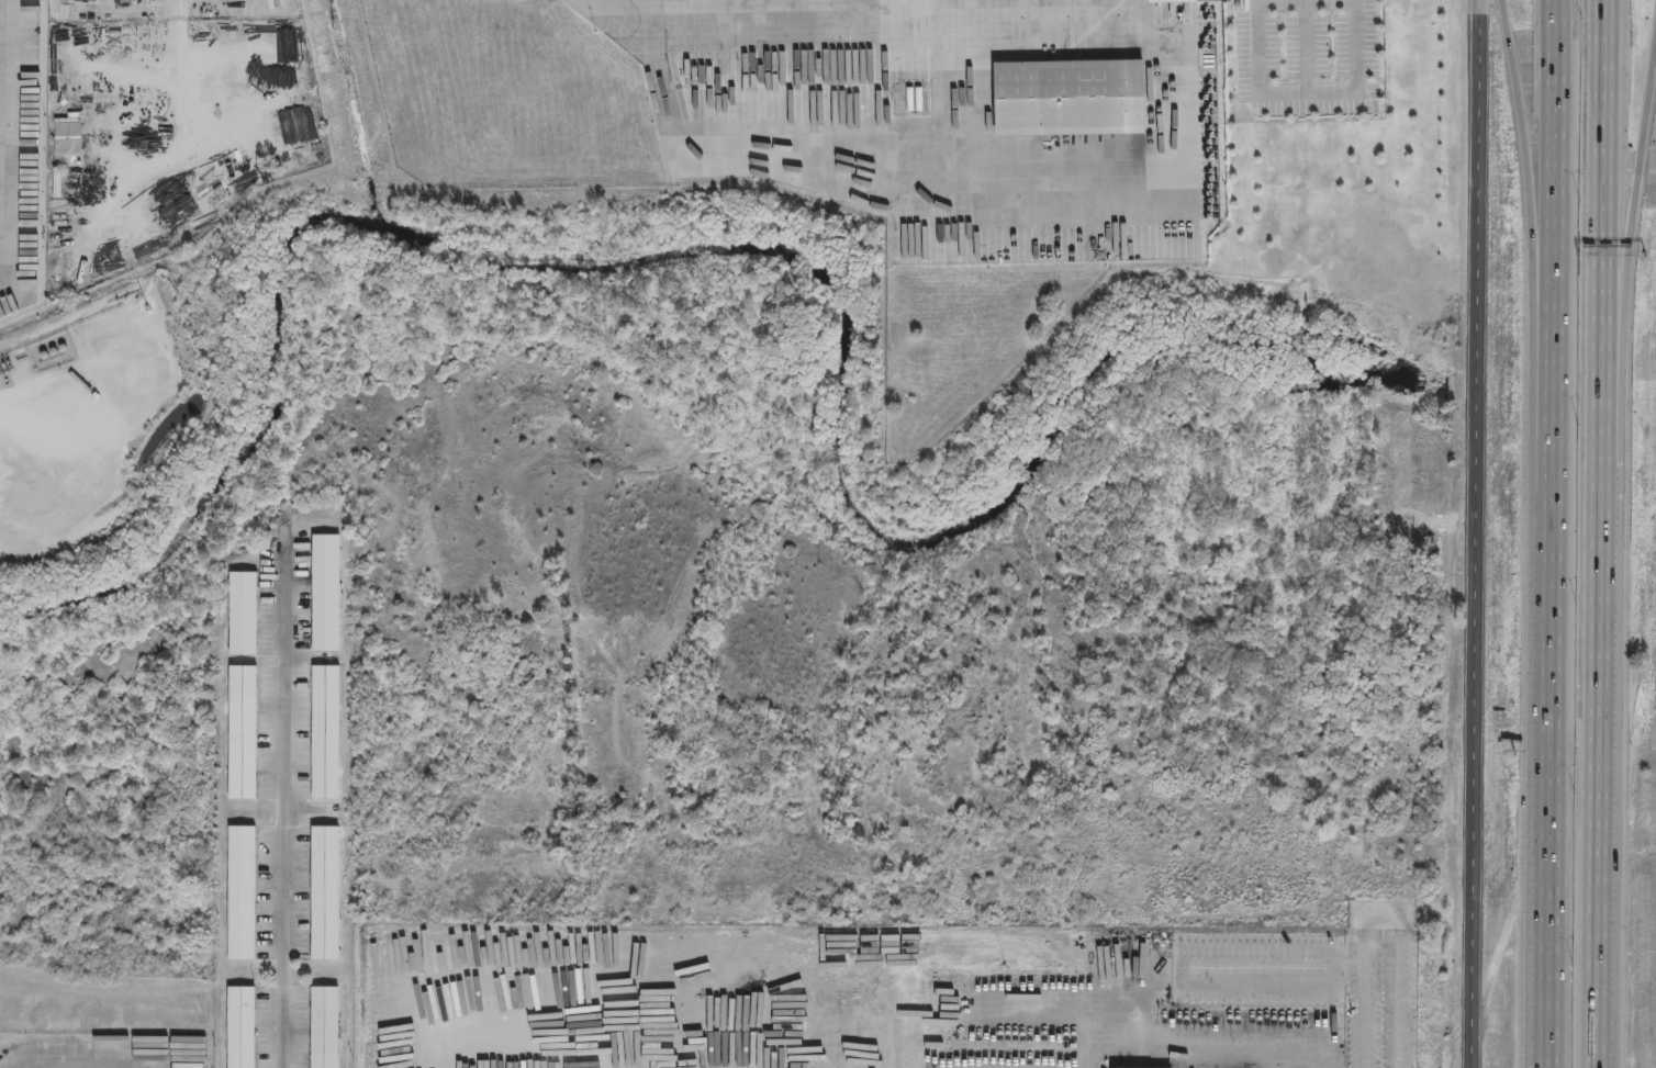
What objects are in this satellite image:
building: (1171, 0)
road: (750, 42)
road: (1285, 93)
building: (1067, 98)
building: (68, 134)
road: (1176, 166)
building: (56, 184)
road: (1537, 214)
road: (1554, 215)
road: (1602, 307)
road: (1630, 344)
road: (1479, 533)
building: (323, 592)
building: (240, 612)
building: (324, 730)
building: (240, 733)
road: (1546, 749)
road: (284, 796)
road: (1603, 841)
building: (239, 893)
building: (323, 893)
building: (238, 1027)
building: (324, 1027)
road: (1199, 1050)
building: (1117, 1067)

